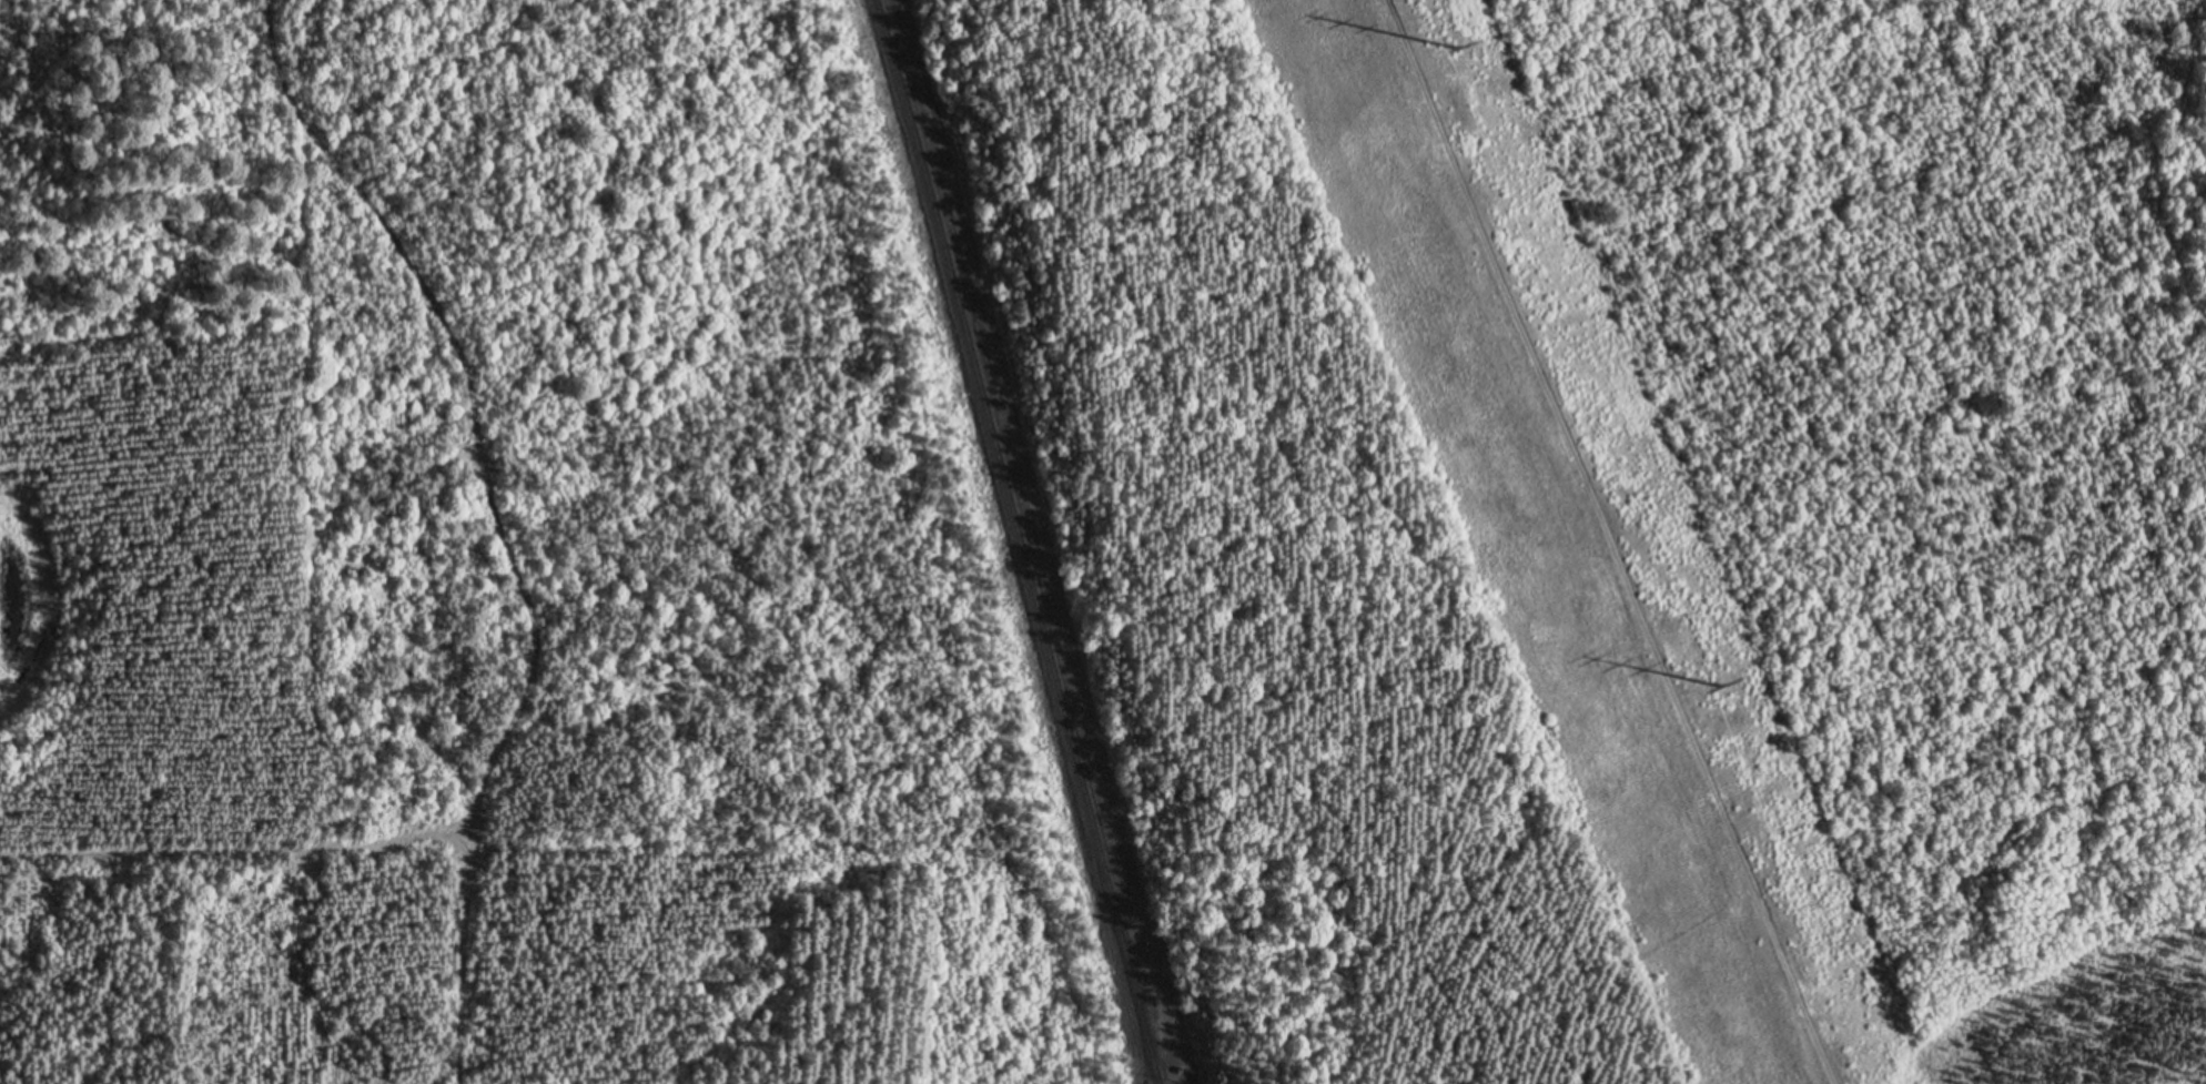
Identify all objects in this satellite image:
power tower: (1455, 49)
railway: (1029, 509)
railway: (1023, 540)
road: (1050, 541)
road: (535, 628)
power tower: (1719, 686)
road: (459, 955)

